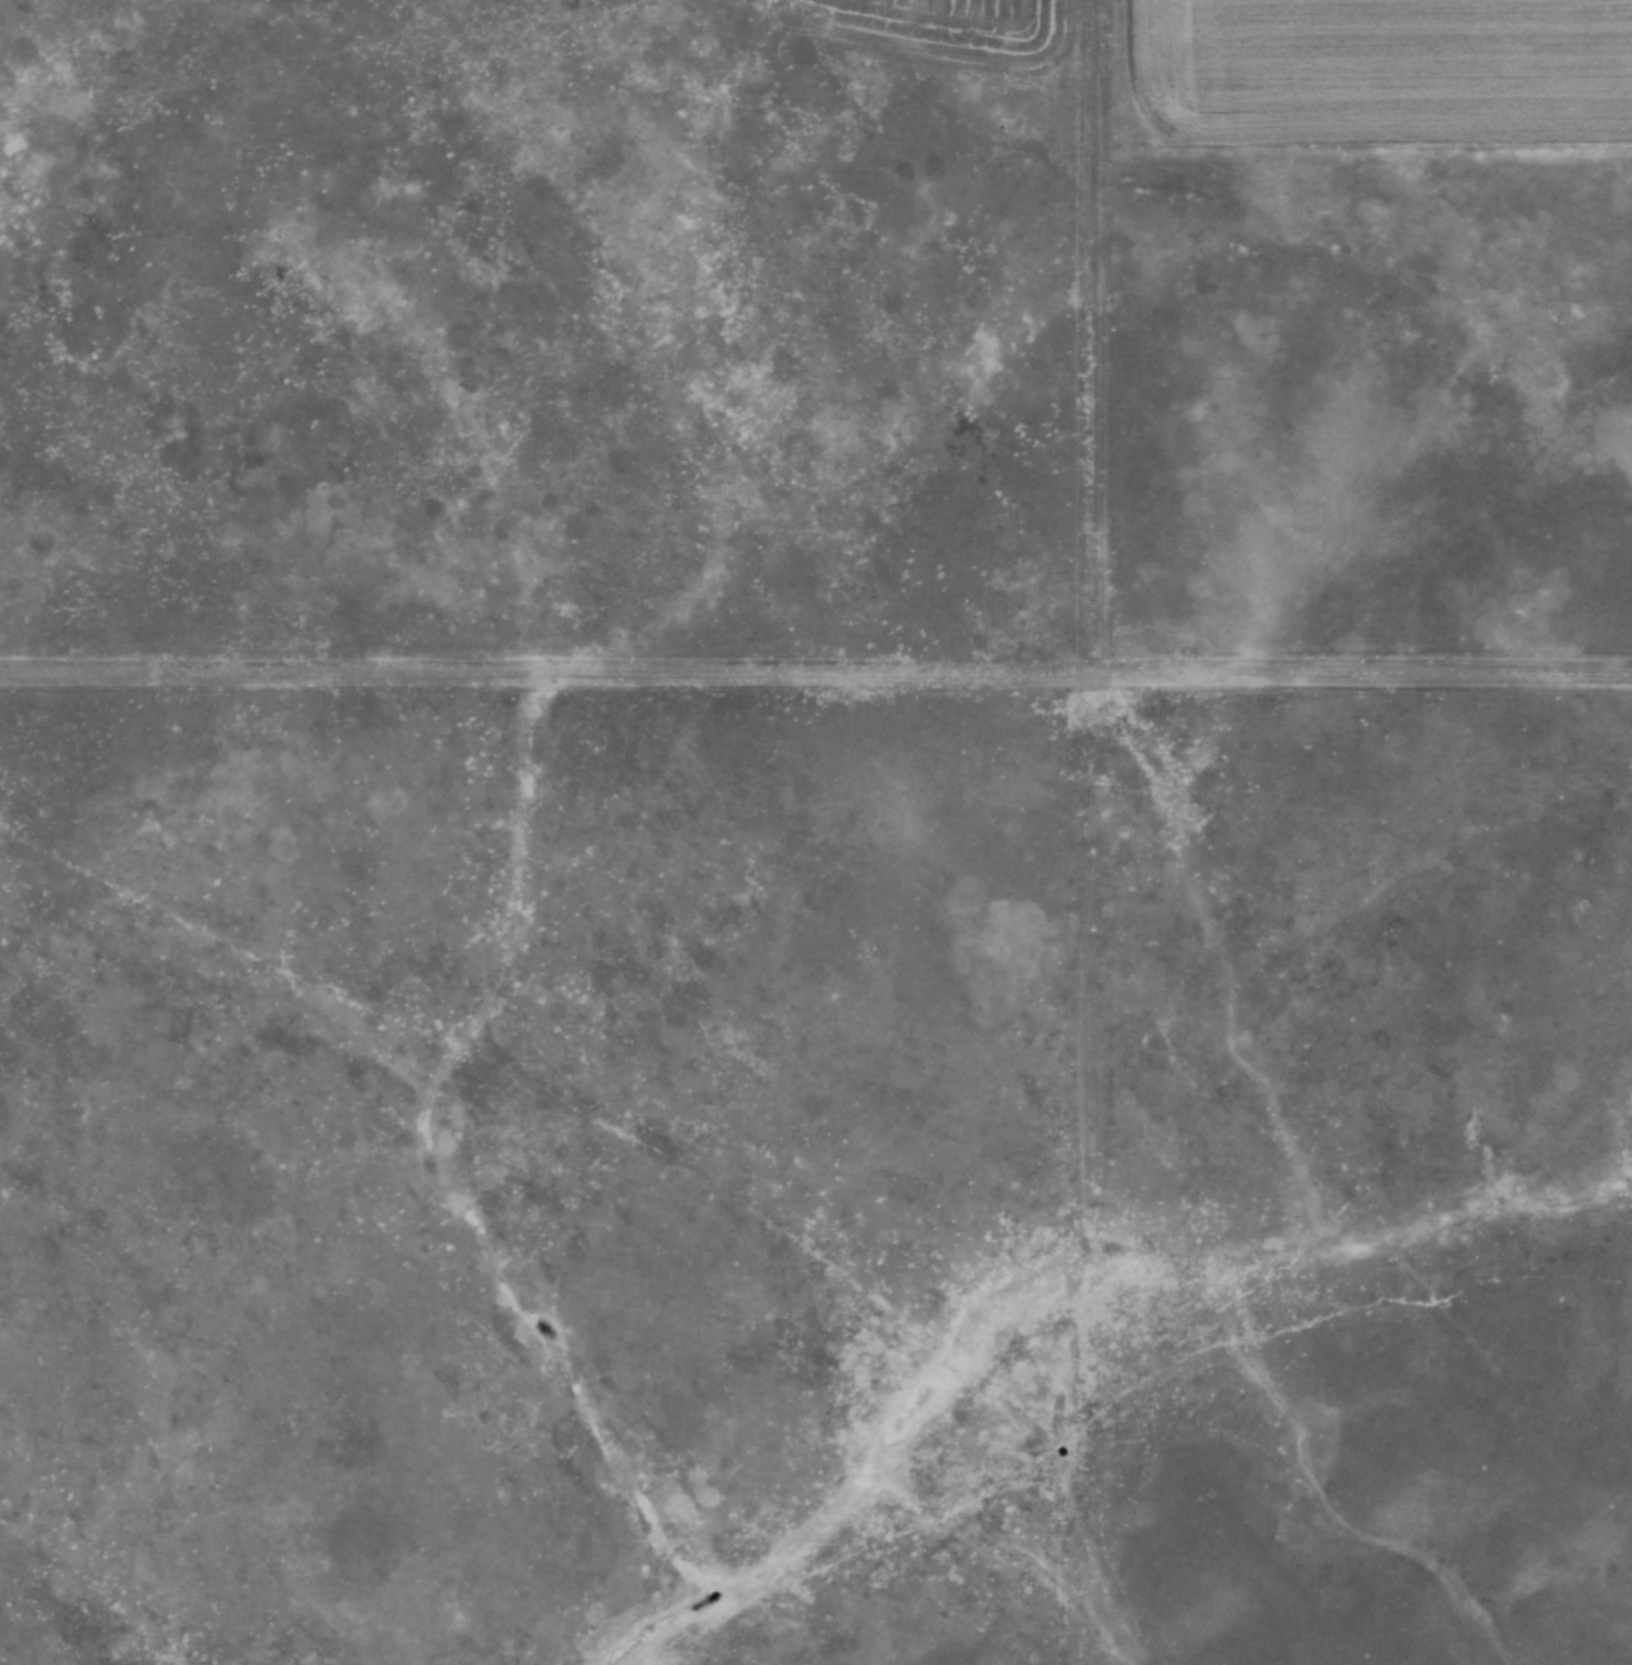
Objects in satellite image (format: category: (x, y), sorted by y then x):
road: (1088, 322)
road: (544, 649)

